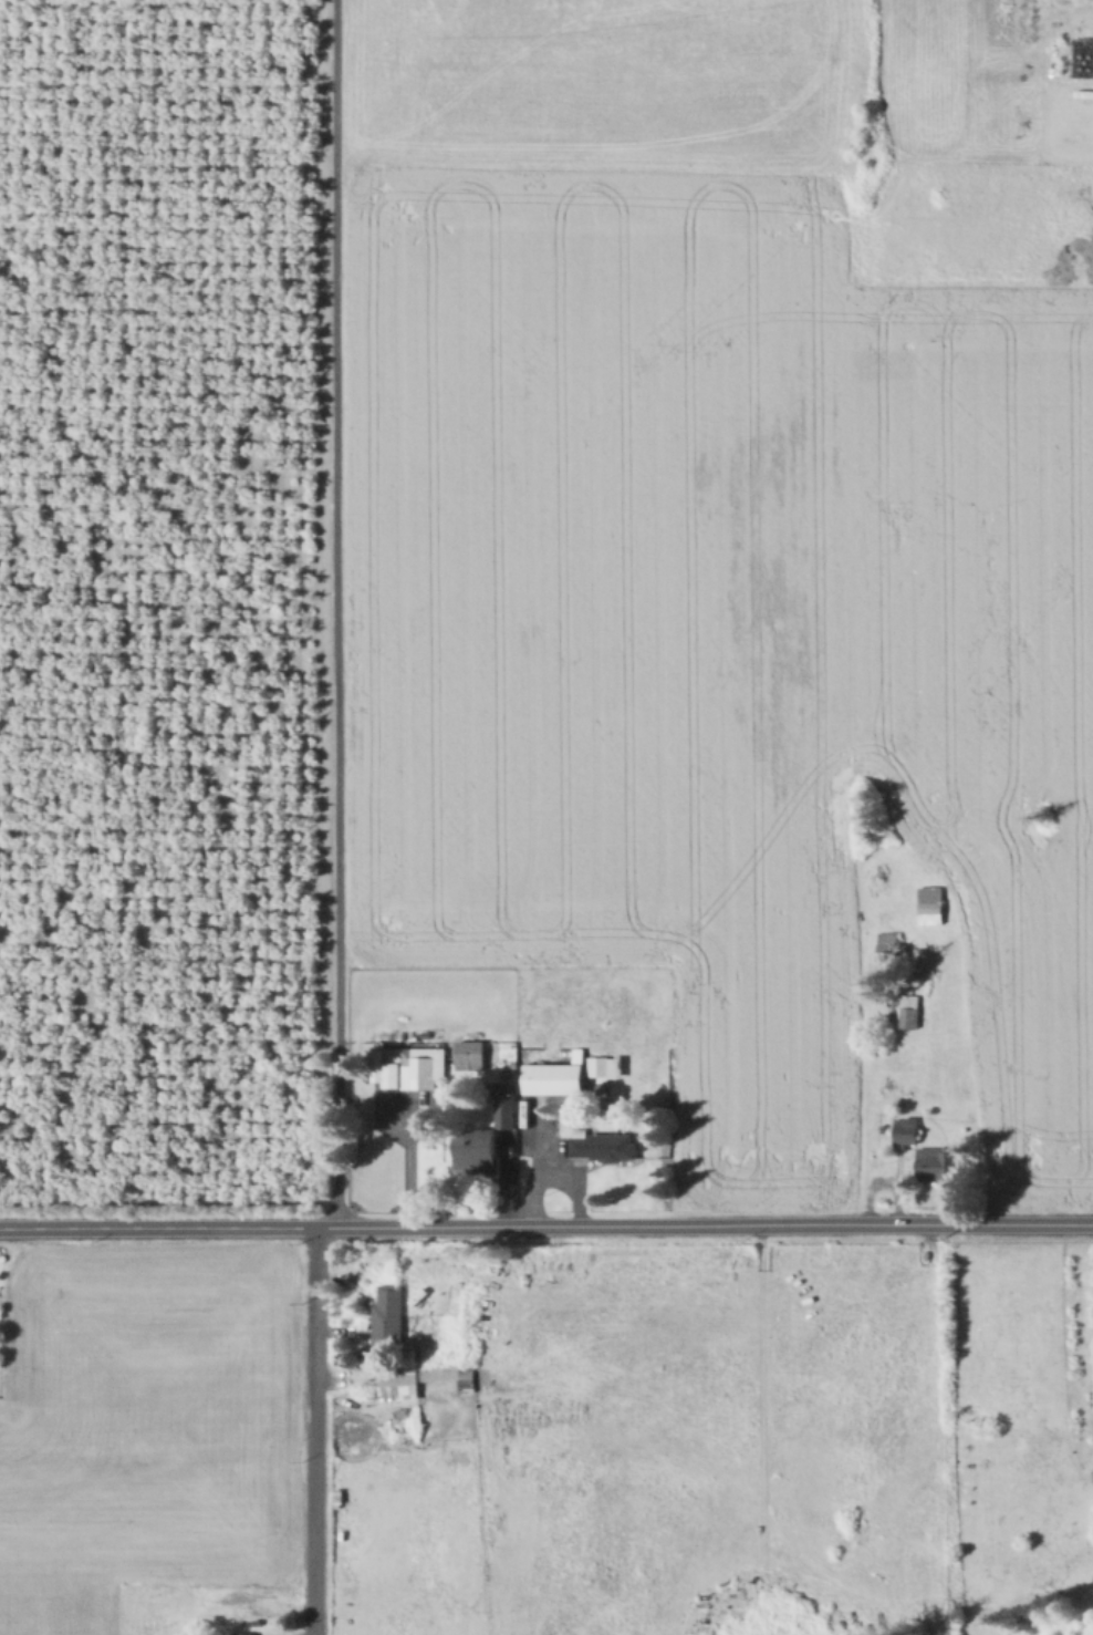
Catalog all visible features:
building: (1082, 59)
crop: (706, 567)
road: (336, 614)
building: (931, 904)
building: (891, 950)
building: (909, 1011)
building: (488, 1053)
building: (471, 1055)
building: (598, 1065)
building: (426, 1072)
building: (555, 1078)
building: (506, 1109)
building: (906, 1131)
building: (604, 1146)
building: (478, 1149)
building: (938, 1165)
road: (546, 1225)
building: (386, 1313)
building: (447, 1378)
building: (394, 1384)
building: (403, 1418)
road: (760, 1419)
road: (315, 1429)
crop: (146, 1443)
building: (248, 1634)

